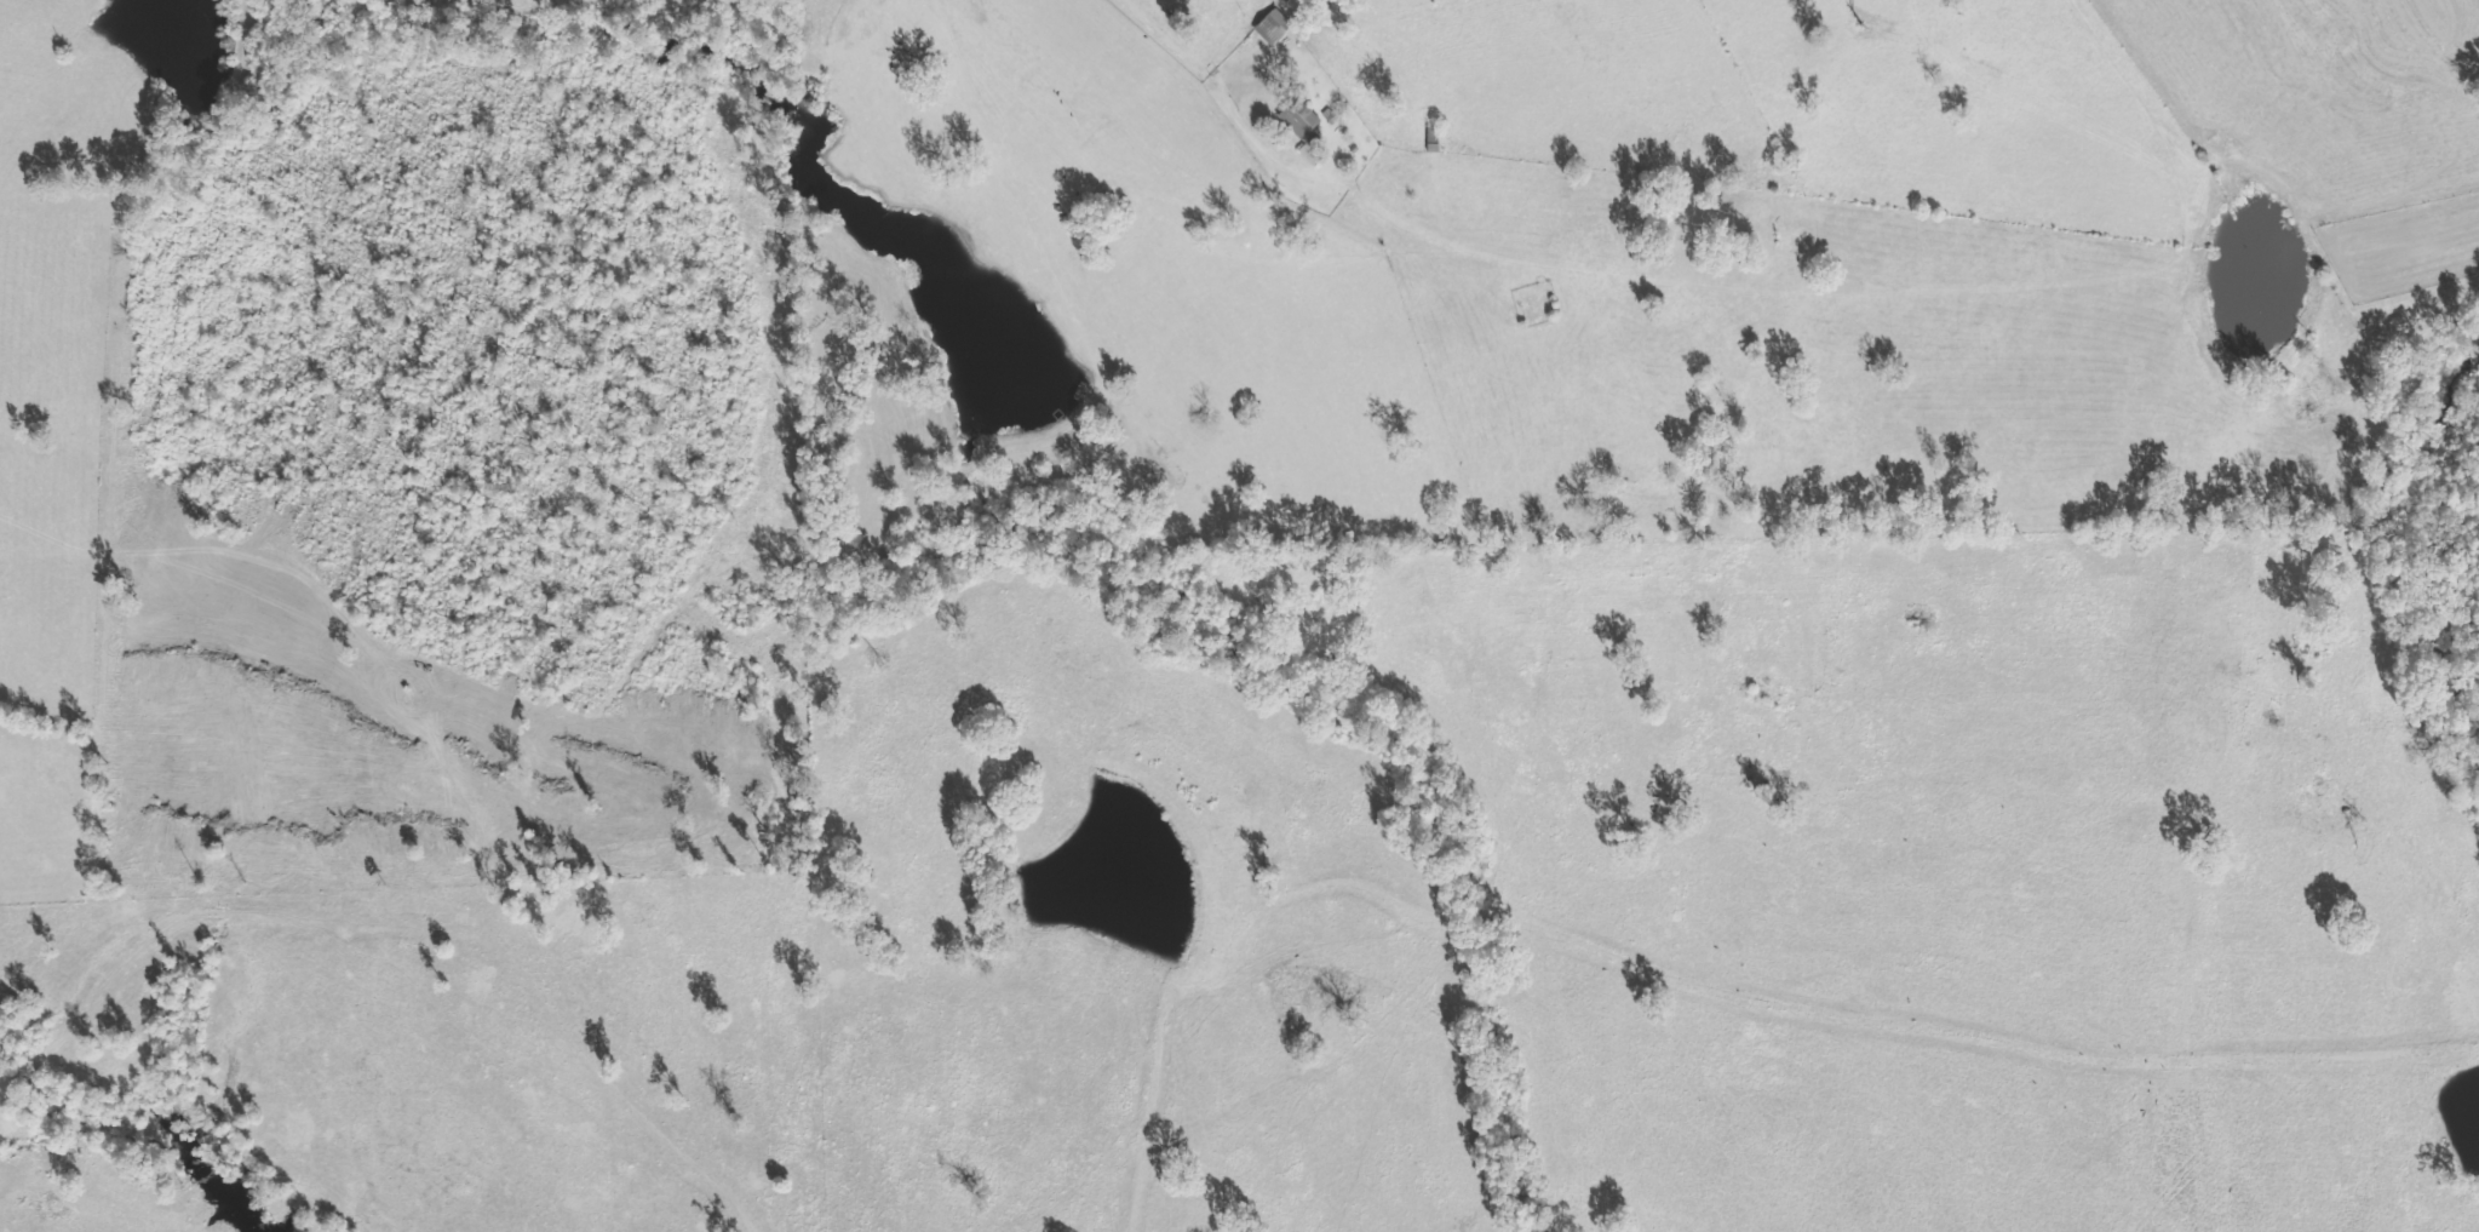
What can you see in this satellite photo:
road: (1193, 25)
building: (1296, 118)

